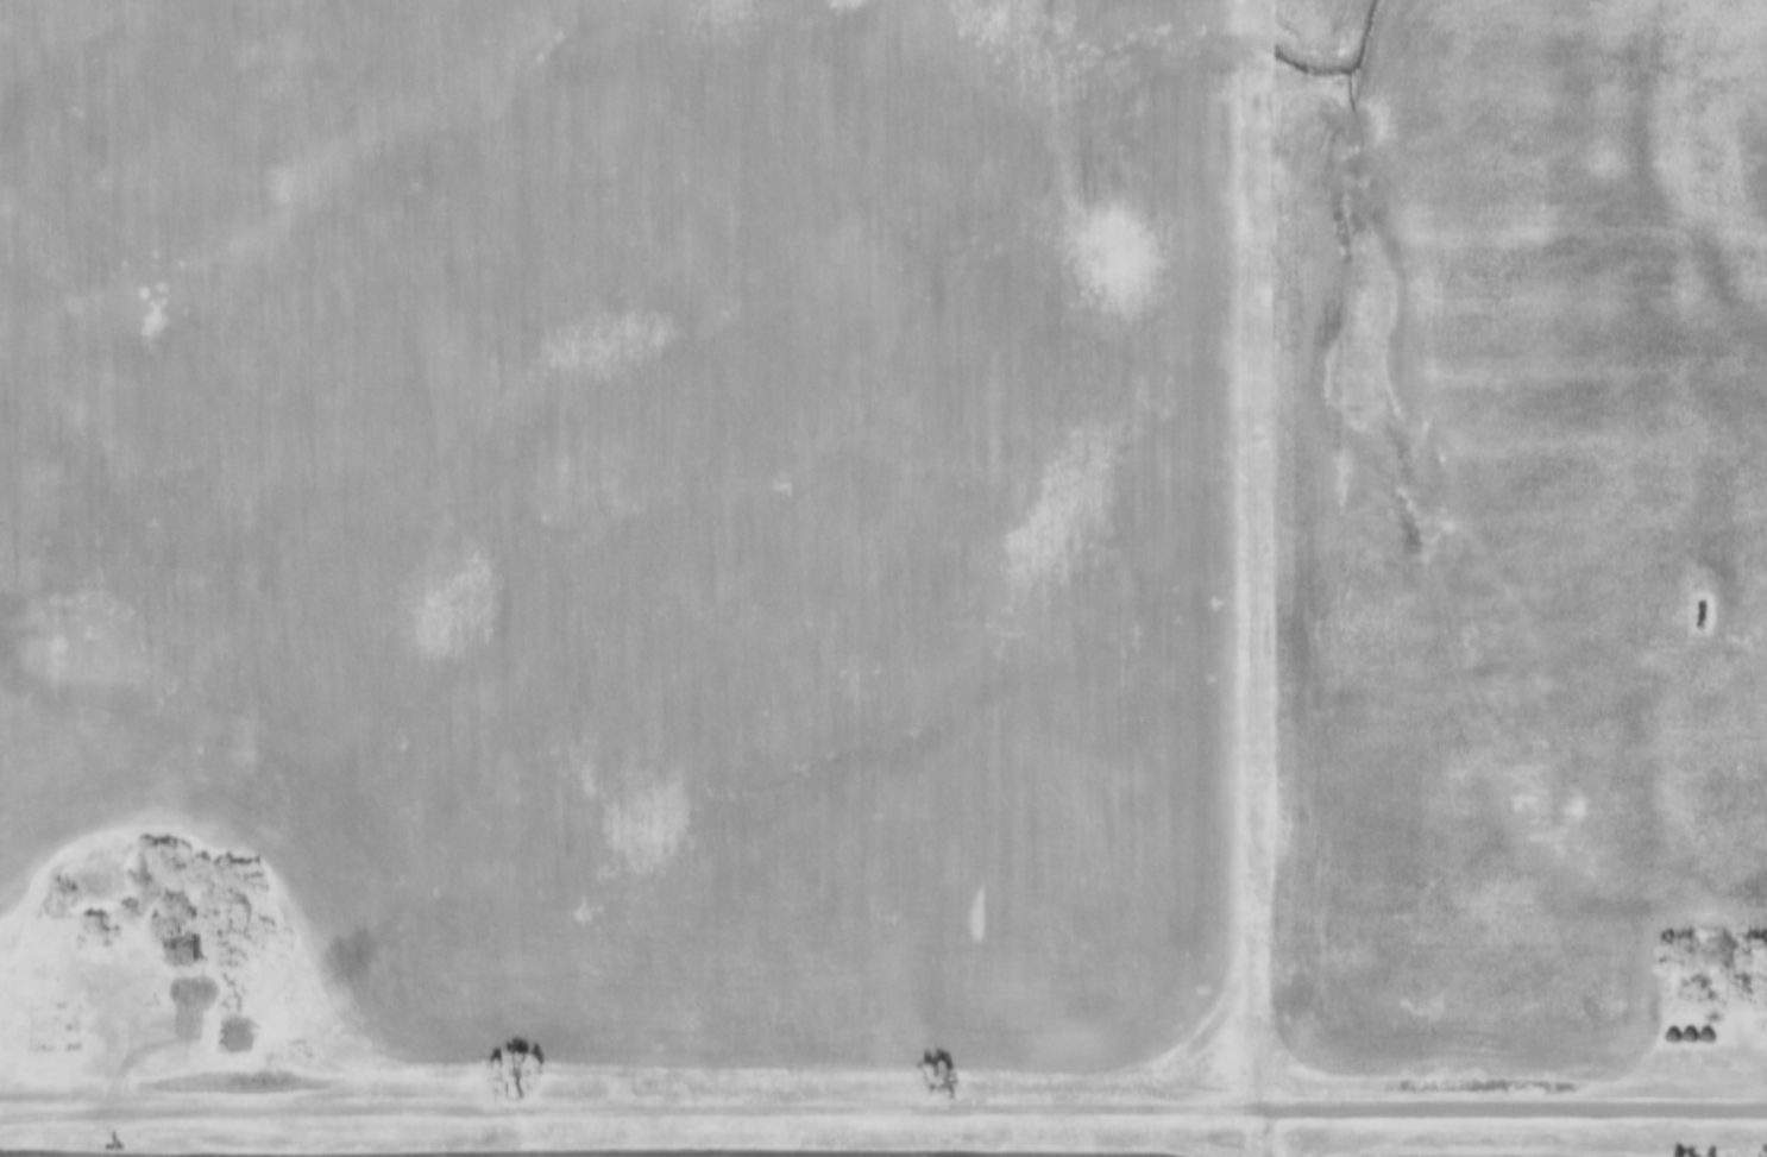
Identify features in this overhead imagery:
road: (37, 499)
building: (189, 958)
building: (239, 1040)
road: (615, 1113)
road: (1498, 1113)

